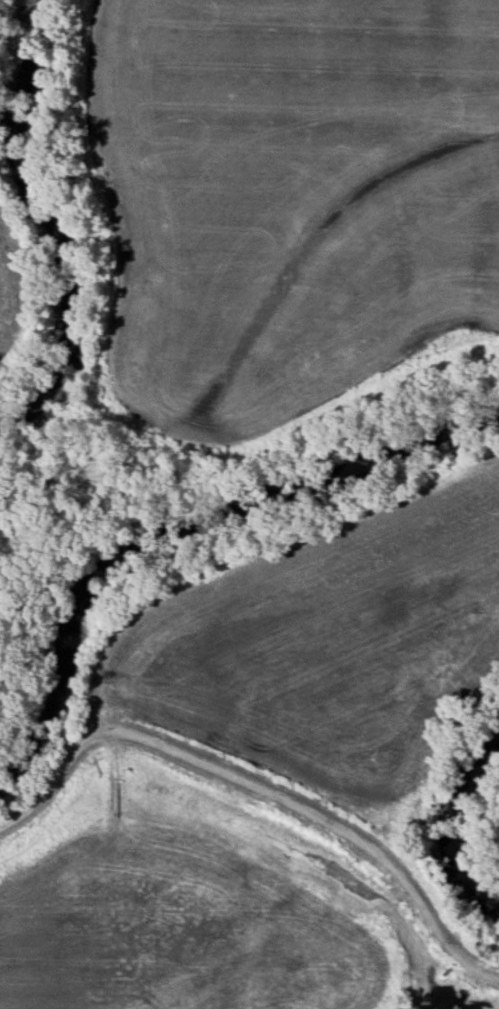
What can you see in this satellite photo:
river: (40, 217)
river: (178, 525)
river: (453, 828)

